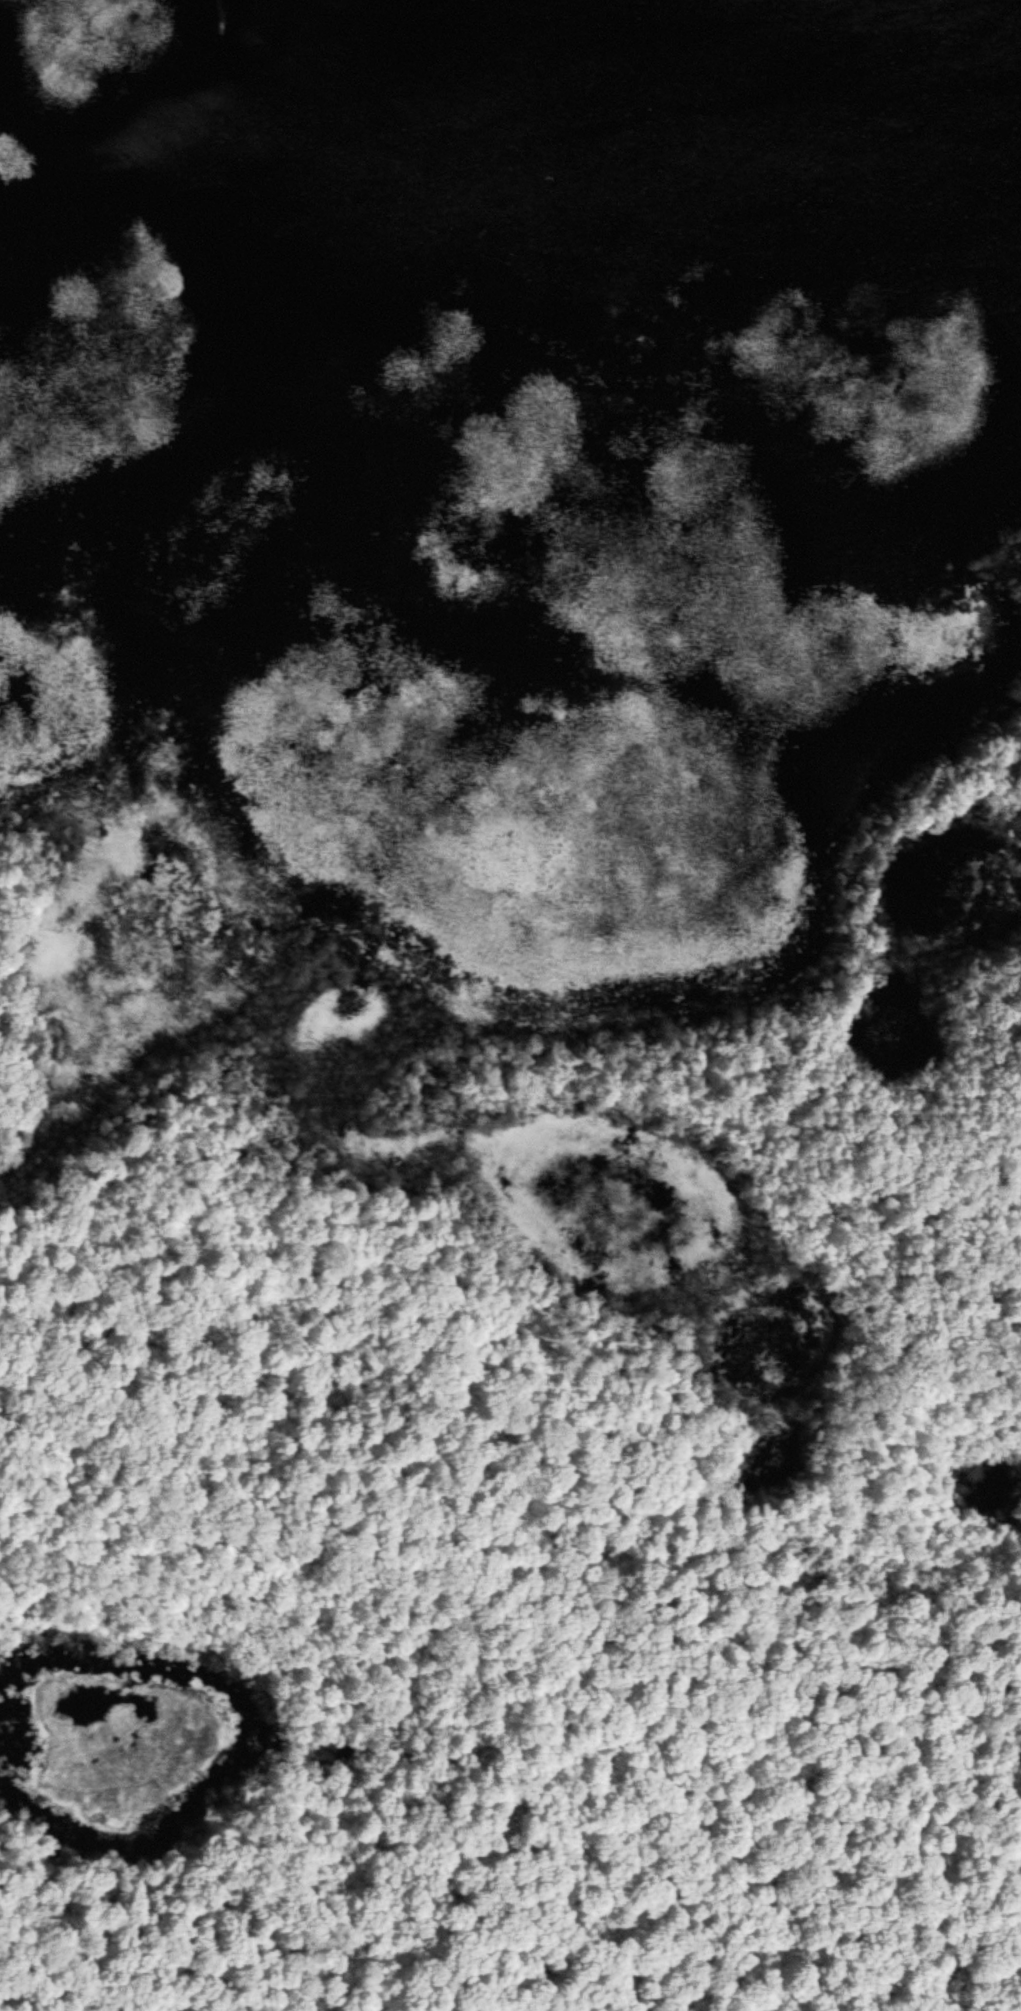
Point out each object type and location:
road: (182, 1948)

